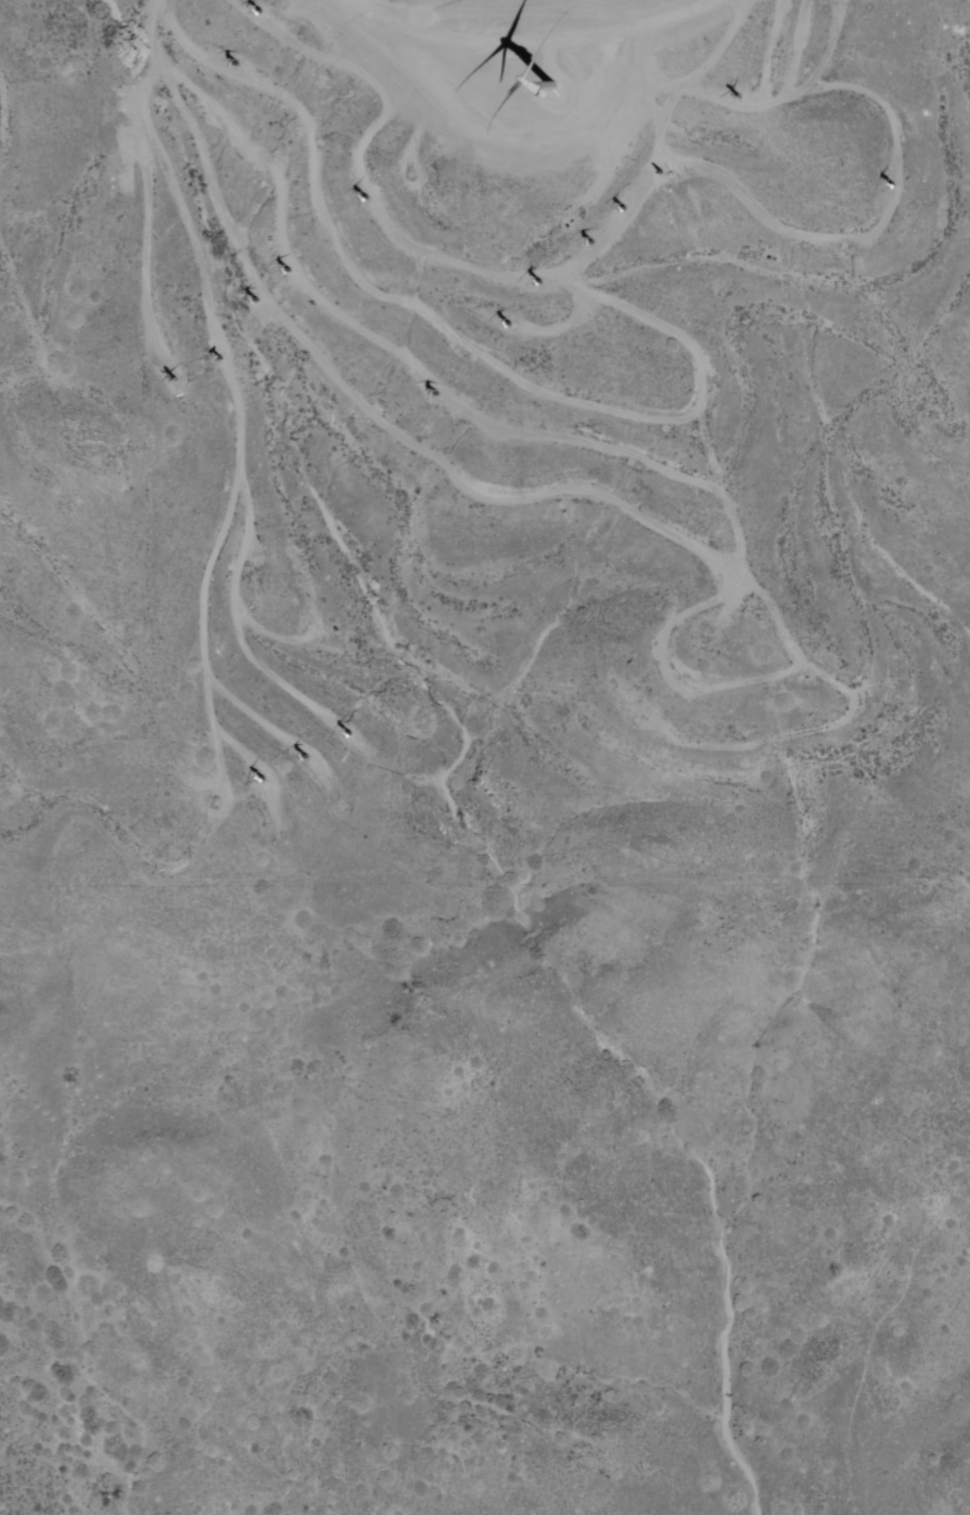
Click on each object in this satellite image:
wind turbine: (257, 14)
wind turbine: (232, 64)
wind turbine: (555, 94)
wind turbine: (739, 96)
wind turbine: (663, 171)
wind turbine: (893, 188)
wind turbine: (366, 201)
wind turbine: (625, 209)
wind turbine: (591, 245)
wind turbine: (287, 272)
wind turbine: (541, 283)
wind turbine: (260, 305)
wind turbine: (508, 327)
wind turbine: (219, 359)
wind turbine: (174, 381)
wind turbine: (441, 395)
wind turbine: (347, 738)
wind turbine: (305, 759)
wind turbine: (263, 783)
wind turbine: (216, 803)

